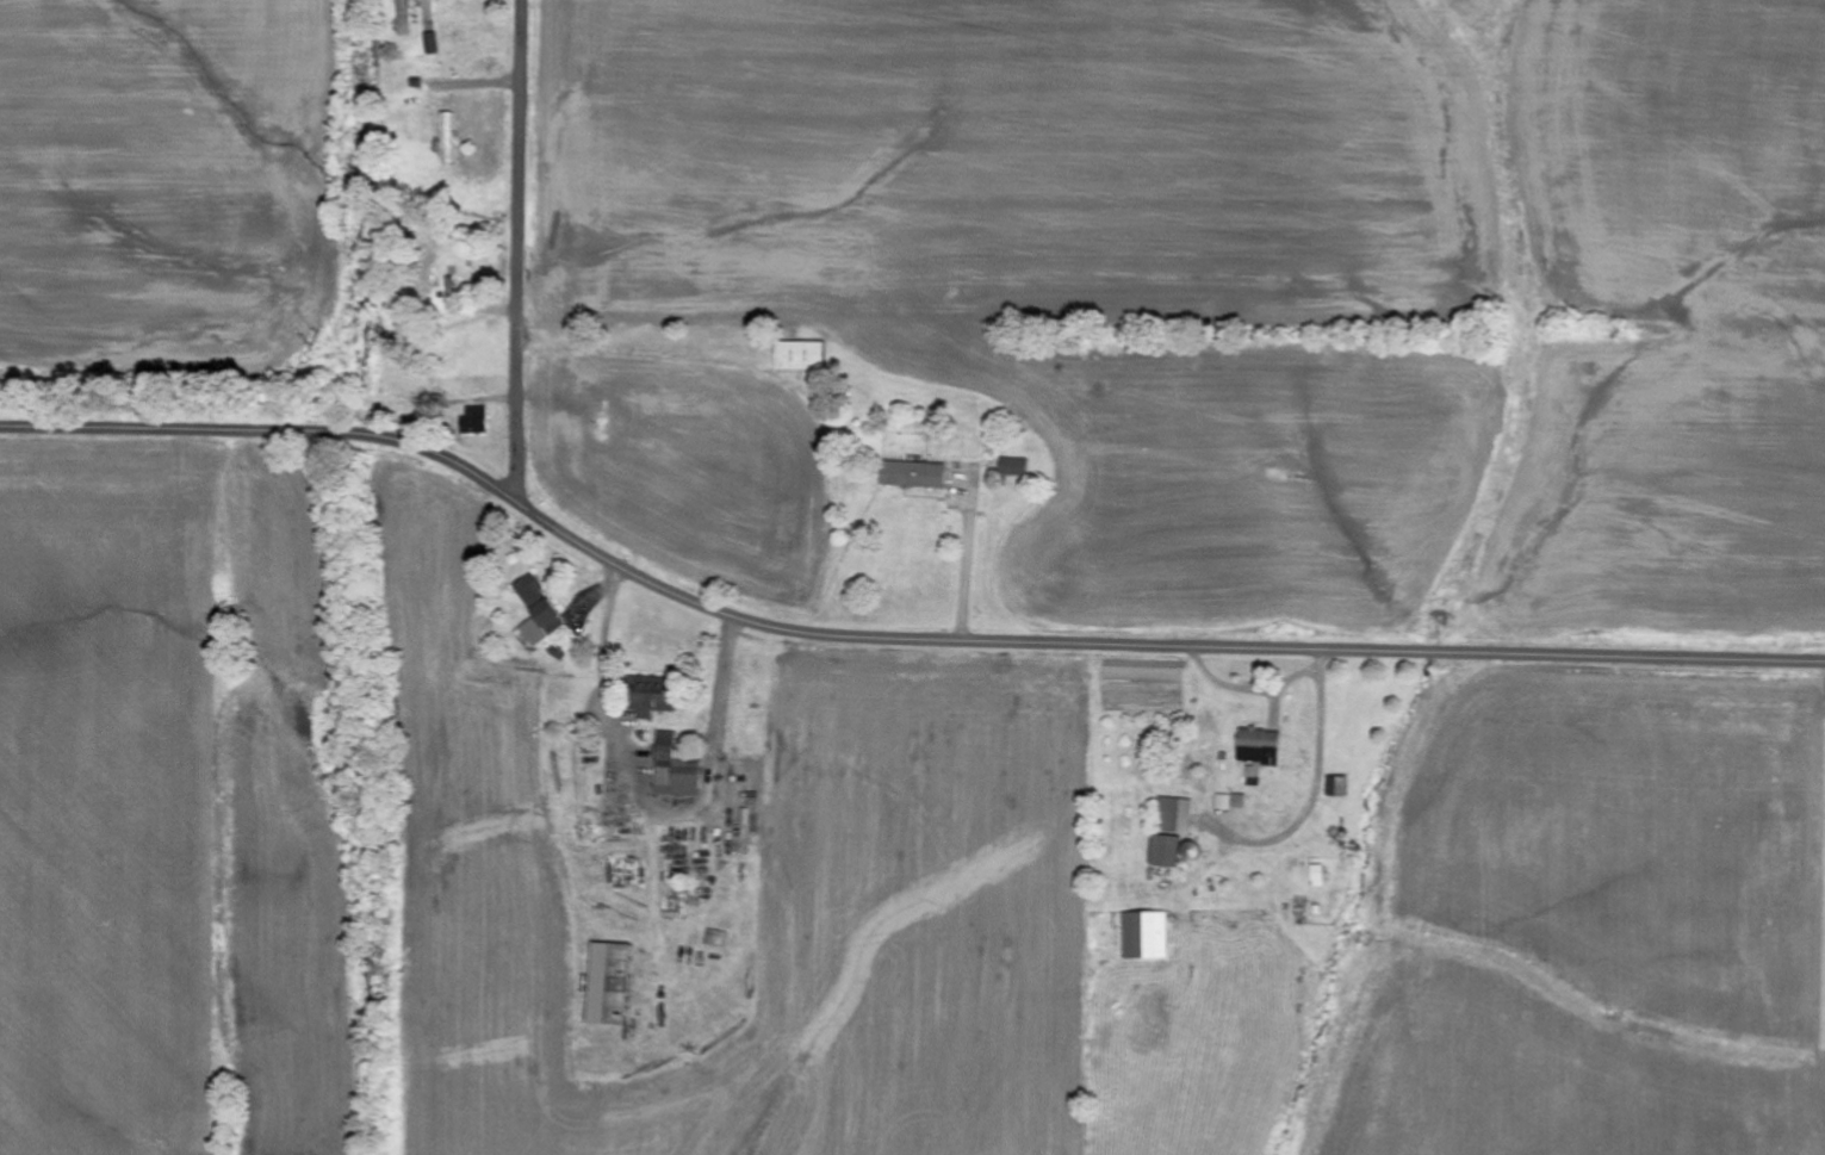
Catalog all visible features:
building: (446, 139)
road: (519, 246)
building: (799, 356)
building: (474, 421)
building: (1012, 467)
building: (912, 476)
building: (536, 611)
road: (889, 631)
building: (651, 697)
building: (1260, 751)
building: (675, 769)
building: (1337, 787)
building: (1231, 801)
building: (1177, 815)
building: (1165, 851)
building: (1146, 934)
building: (608, 983)

